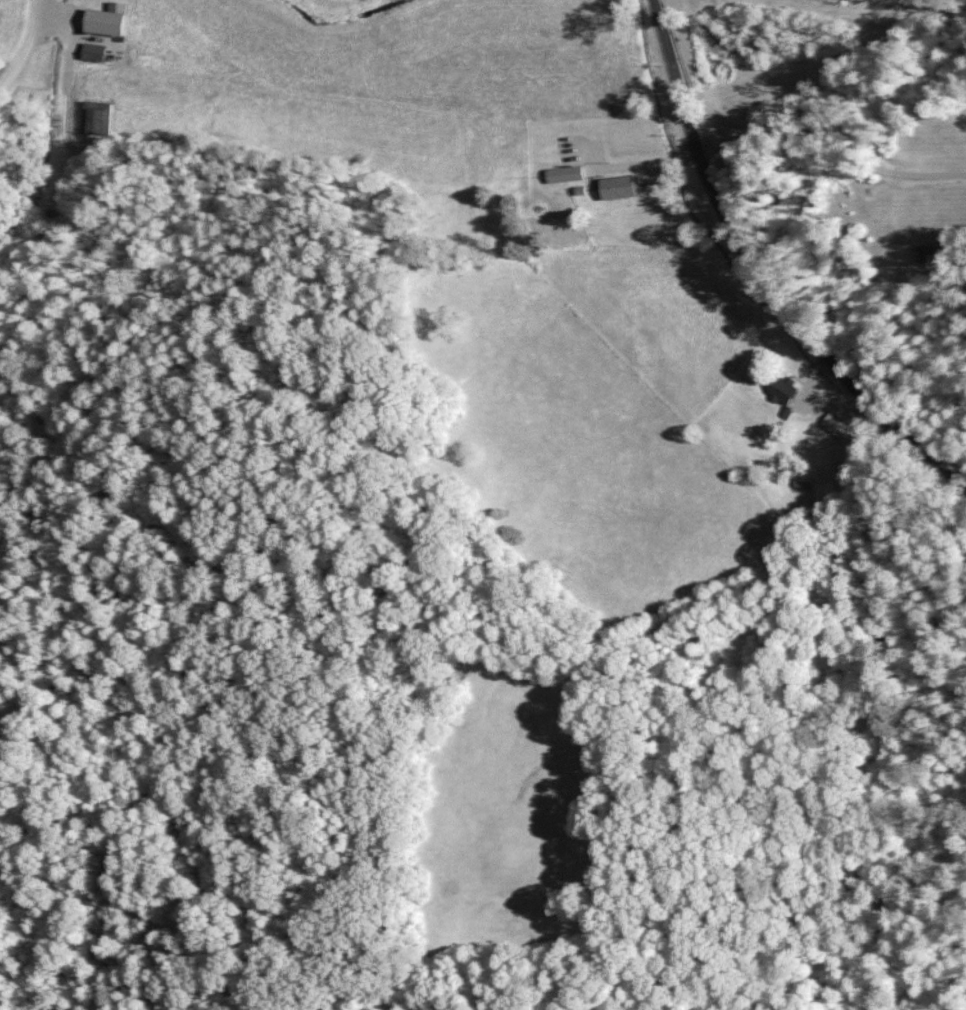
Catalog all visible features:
building: (104, 19)
road: (27, 51)
building: (91, 51)
building: (562, 174)
building: (617, 186)
road: (764, 271)
building: (780, 389)
building: (836, 425)

